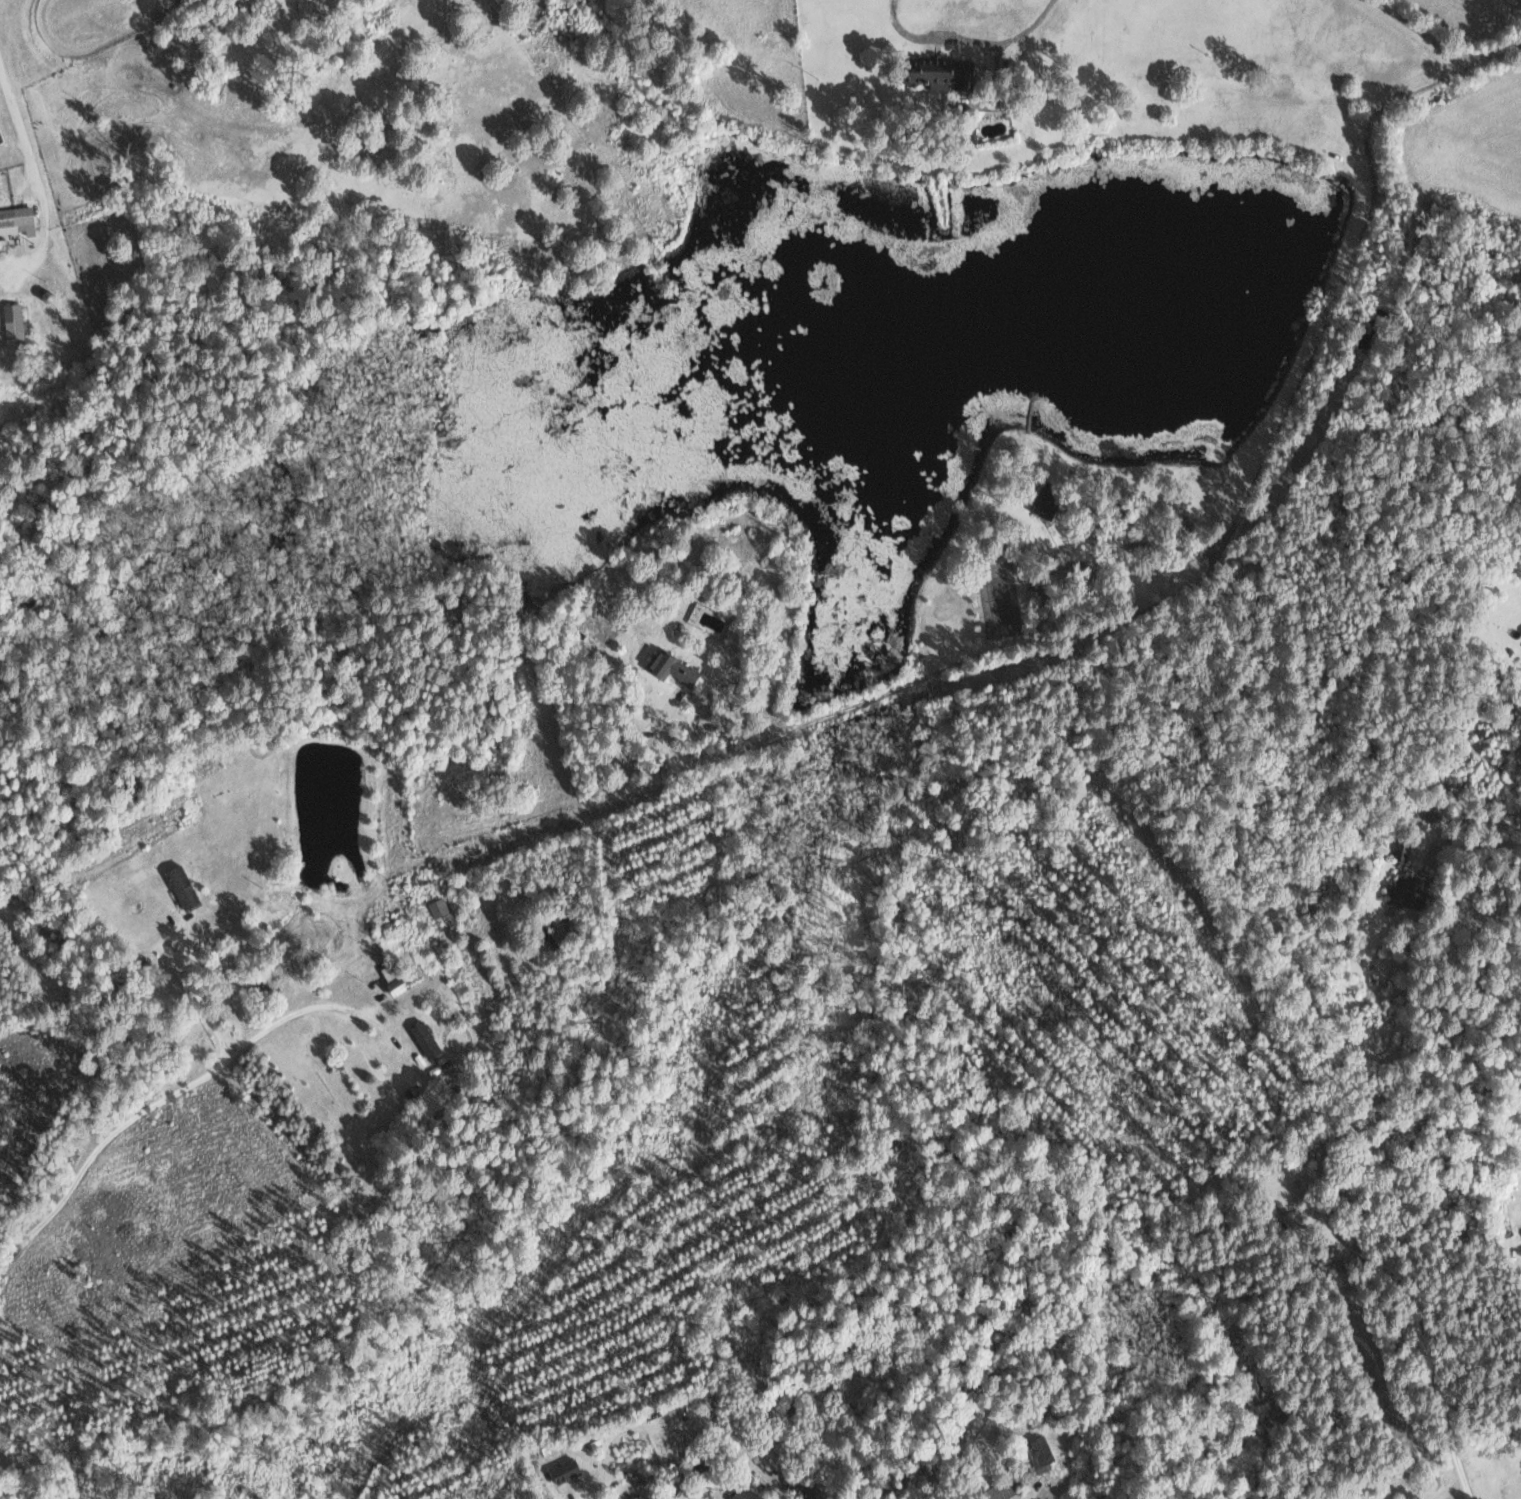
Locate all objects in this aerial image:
building: (937, 72)
building: (17, 220)
building: (12, 323)
road: (1215, 560)
building: (671, 667)
building: (181, 886)
building: (1406, 892)
building: (437, 906)
building: (391, 980)
building: (424, 1039)
road: (1371, 1243)
road: (1000, 1388)
road: (240, 1437)
building: (1038, 1453)
building: (564, 1471)
building: (744, 1490)

